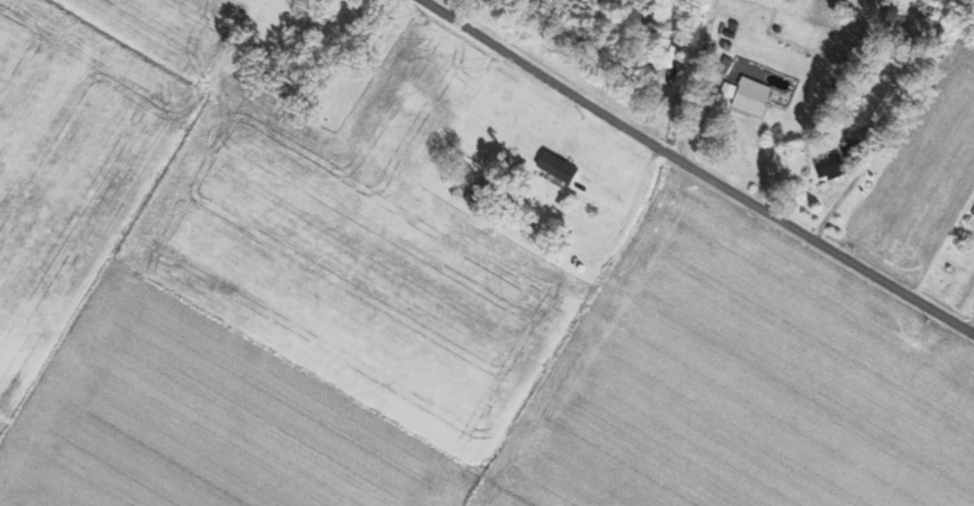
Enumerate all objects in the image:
building: (353, 0)
road: (691, 77)
building: (751, 96)
building: (838, 164)
road: (695, 167)
building: (478, 197)
building: (540, 211)

